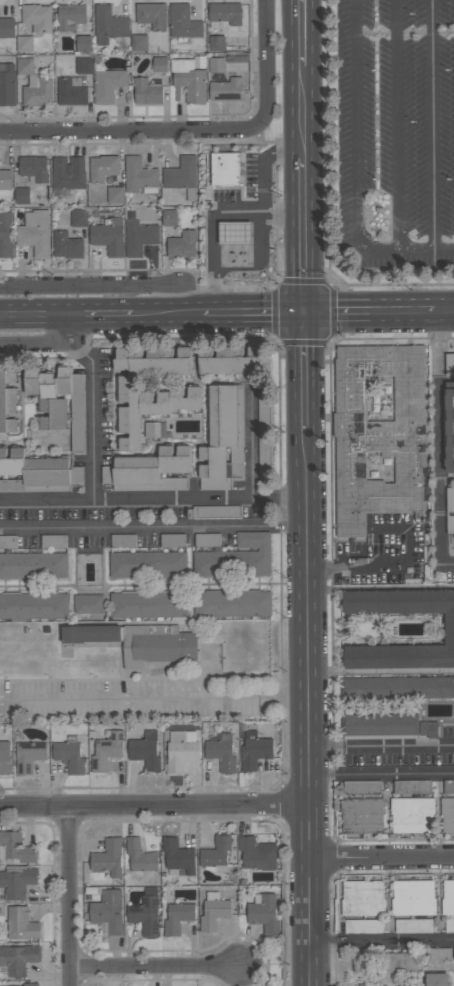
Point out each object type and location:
building: (225, 14)
building: (151, 16)
building: (37, 17)
building: (70, 17)
building: (183, 22)
building: (109, 25)
building: (7, 28)
road: (303, 33)
road: (404, 34)
building: (139, 43)
building: (216, 43)
building: (24, 44)
building: (83, 45)
building: (160, 65)
building: (216, 65)
road: (266, 65)
building: (24, 66)
building: (84, 66)
building: (188, 80)
building: (7, 84)
building: (108, 84)
building: (225, 90)
building: (37, 91)
building: (71, 92)
building: (146, 92)
road: (304, 112)
road: (397, 125)
road: (433, 126)
road: (127, 130)
parking lot: (398, 134)
road: (356, 140)
road: (285, 158)
building: (103, 168)
building: (34, 169)
building: (225, 169)
building: (68, 174)
building: (140, 176)
building: (182, 176)
building: (5, 180)
road: (263, 186)
building: (115, 195)
building: (22, 196)
road: (328, 202)
building: (169, 217)
building: (79, 219)
road: (214, 220)
building: (35, 233)
building: (235, 233)
road: (305, 234)
building: (5, 235)
building: (109, 236)
building: (139, 237)
building: (182, 245)
building: (66, 246)
road: (426, 251)
road: (93, 285)
road: (444, 309)
road: (370, 310)
traffic signals: (306, 311)
road: (167, 312)
road: (254, 312)
road: (105, 313)
road: (38, 314)
road: (333, 342)
road: (52, 350)
building: (229, 361)
building: (449, 363)
road: (306, 373)
building: (263, 397)
building: (59, 401)
building: (179, 401)
building: (8, 403)
building: (449, 429)
building: (156, 430)
building: (379, 435)
building: (223, 439)
road: (439, 444)
building: (263, 456)
building: (149, 471)
building: (38, 473)
road: (143, 499)
road: (46, 500)
building: (213, 512)
road: (153, 527)
building: (206, 540)
building: (123, 541)
building: (172, 541)
building: (49, 542)
building: (236, 558)
road: (372, 564)
building: (147, 565)
building: (32, 566)
road: (380, 590)
building: (232, 603)
building: (89, 604)
building: (34, 605)
building: (148, 605)
building: (449, 629)
building: (139, 642)
road: (307, 648)
road: (380, 671)
building: (397, 688)
road: (153, 699)
building: (379, 726)
building: (428, 729)
road: (380, 747)
building: (254, 750)
building: (106, 751)
building: (145, 751)
building: (180, 751)
building: (5, 752)
building: (221, 753)
building: (69, 755)
building: (28, 757)
road: (381, 778)
building: (362, 787)
building: (412, 787)
building: (448, 787)
road: (153, 808)
building: (447, 814)
building: (412, 815)
building: (362, 816)
building: (16, 848)
building: (216, 854)
building: (257, 855)
building: (178, 857)
building: (108, 858)
building: (140, 858)
road: (381, 859)
building: (17, 881)
road: (68, 898)
building: (362, 898)
building: (413, 898)
building: (448, 898)
road: (308, 902)
building: (108, 912)
building: (213, 912)
building: (264, 913)
building: (145, 916)
building: (177, 918)
building: (21, 924)
building: (449, 925)
building: (363, 926)
building: (413, 926)
road: (381, 944)
building: (19, 959)
building: (400, 963)
road: (308, 965)
road: (154, 967)
building: (437, 980)
building: (31, 984)

